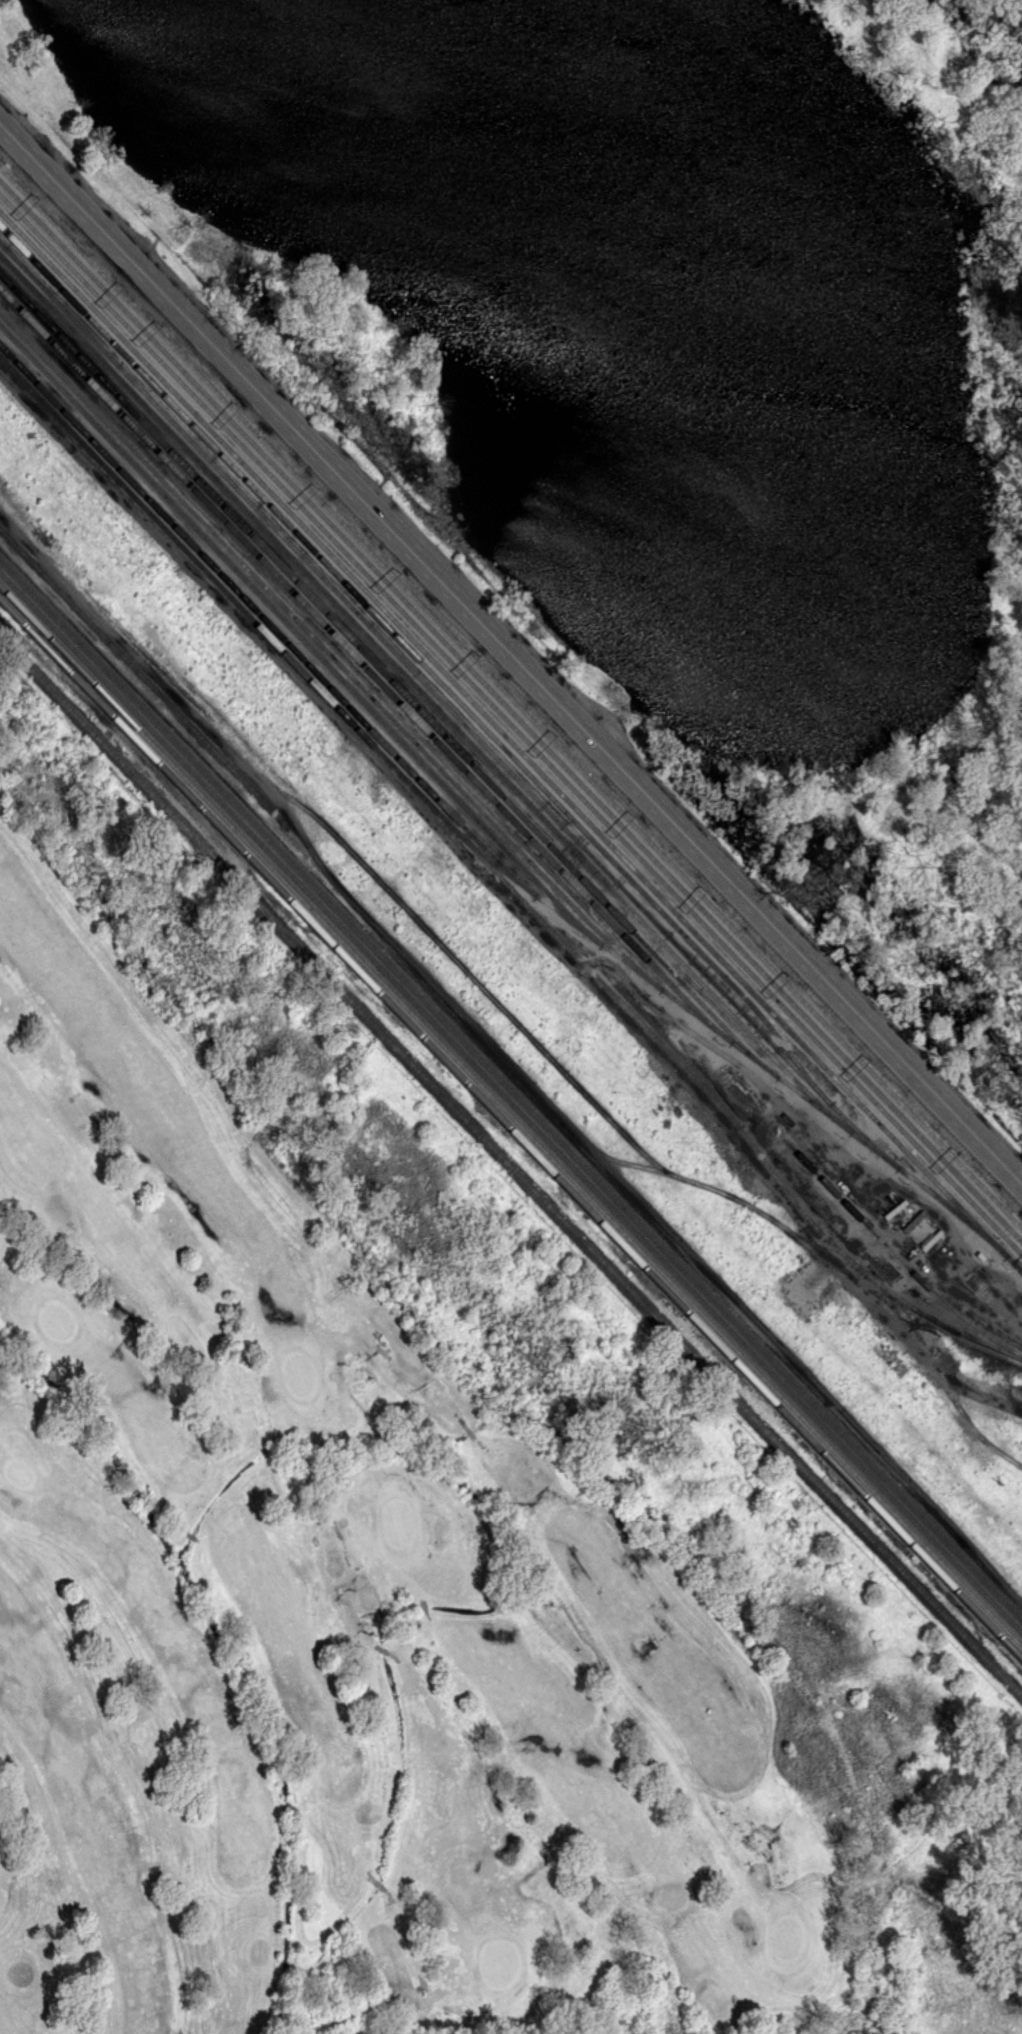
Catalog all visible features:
railway: (13, 612)
railway: (13, 613)
railway: (266, 621)
railway: (299, 635)
railway: (328, 651)
road: (511, 652)
railway: (419, 659)
railway: (364, 665)
railway: (386, 676)
railway: (75, 677)
railway: (423, 694)
railway: (510, 697)
railway: (446, 703)
railway: (510, 710)
railway: (510, 723)
railway: (506, 737)
railway: (136, 777)
railway: (198, 822)
railway: (470, 843)
railway: (659, 1029)
railway: (511, 1090)
railway: (511, 1103)
railway: (724, 1110)
railway: (510, 1116)
railway: (572, 1193)
road: (951, 1233)
railway: (894, 1253)
railway: (1017, 1266)
railway: (1017, 1266)
railway: (646, 1307)
park: (59, 1318)
park: (300, 1374)
road: (459, 1418)
road: (470, 1431)
road: (481, 1444)
road: (263, 1452)
park: (20, 1472)
park: (399, 1521)
road: (181, 1523)
road: (193, 1535)
park: (402, 1557)
road: (423, 1609)
road: (382, 1648)
road: (288, 1806)
road: (371, 1875)
road: (380, 1884)
road: (391, 1892)
park: (788, 1935)
park: (499, 1961)

